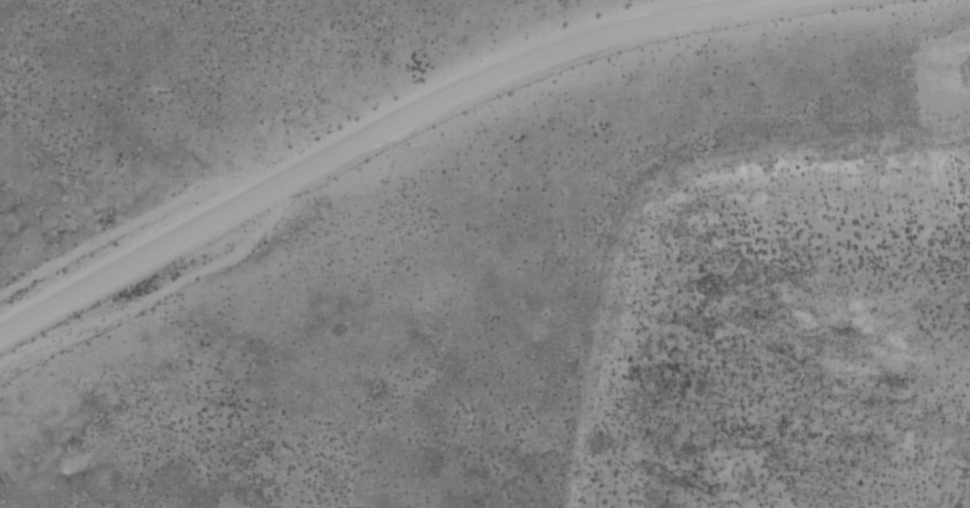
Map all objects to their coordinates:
road: (357, 140)

